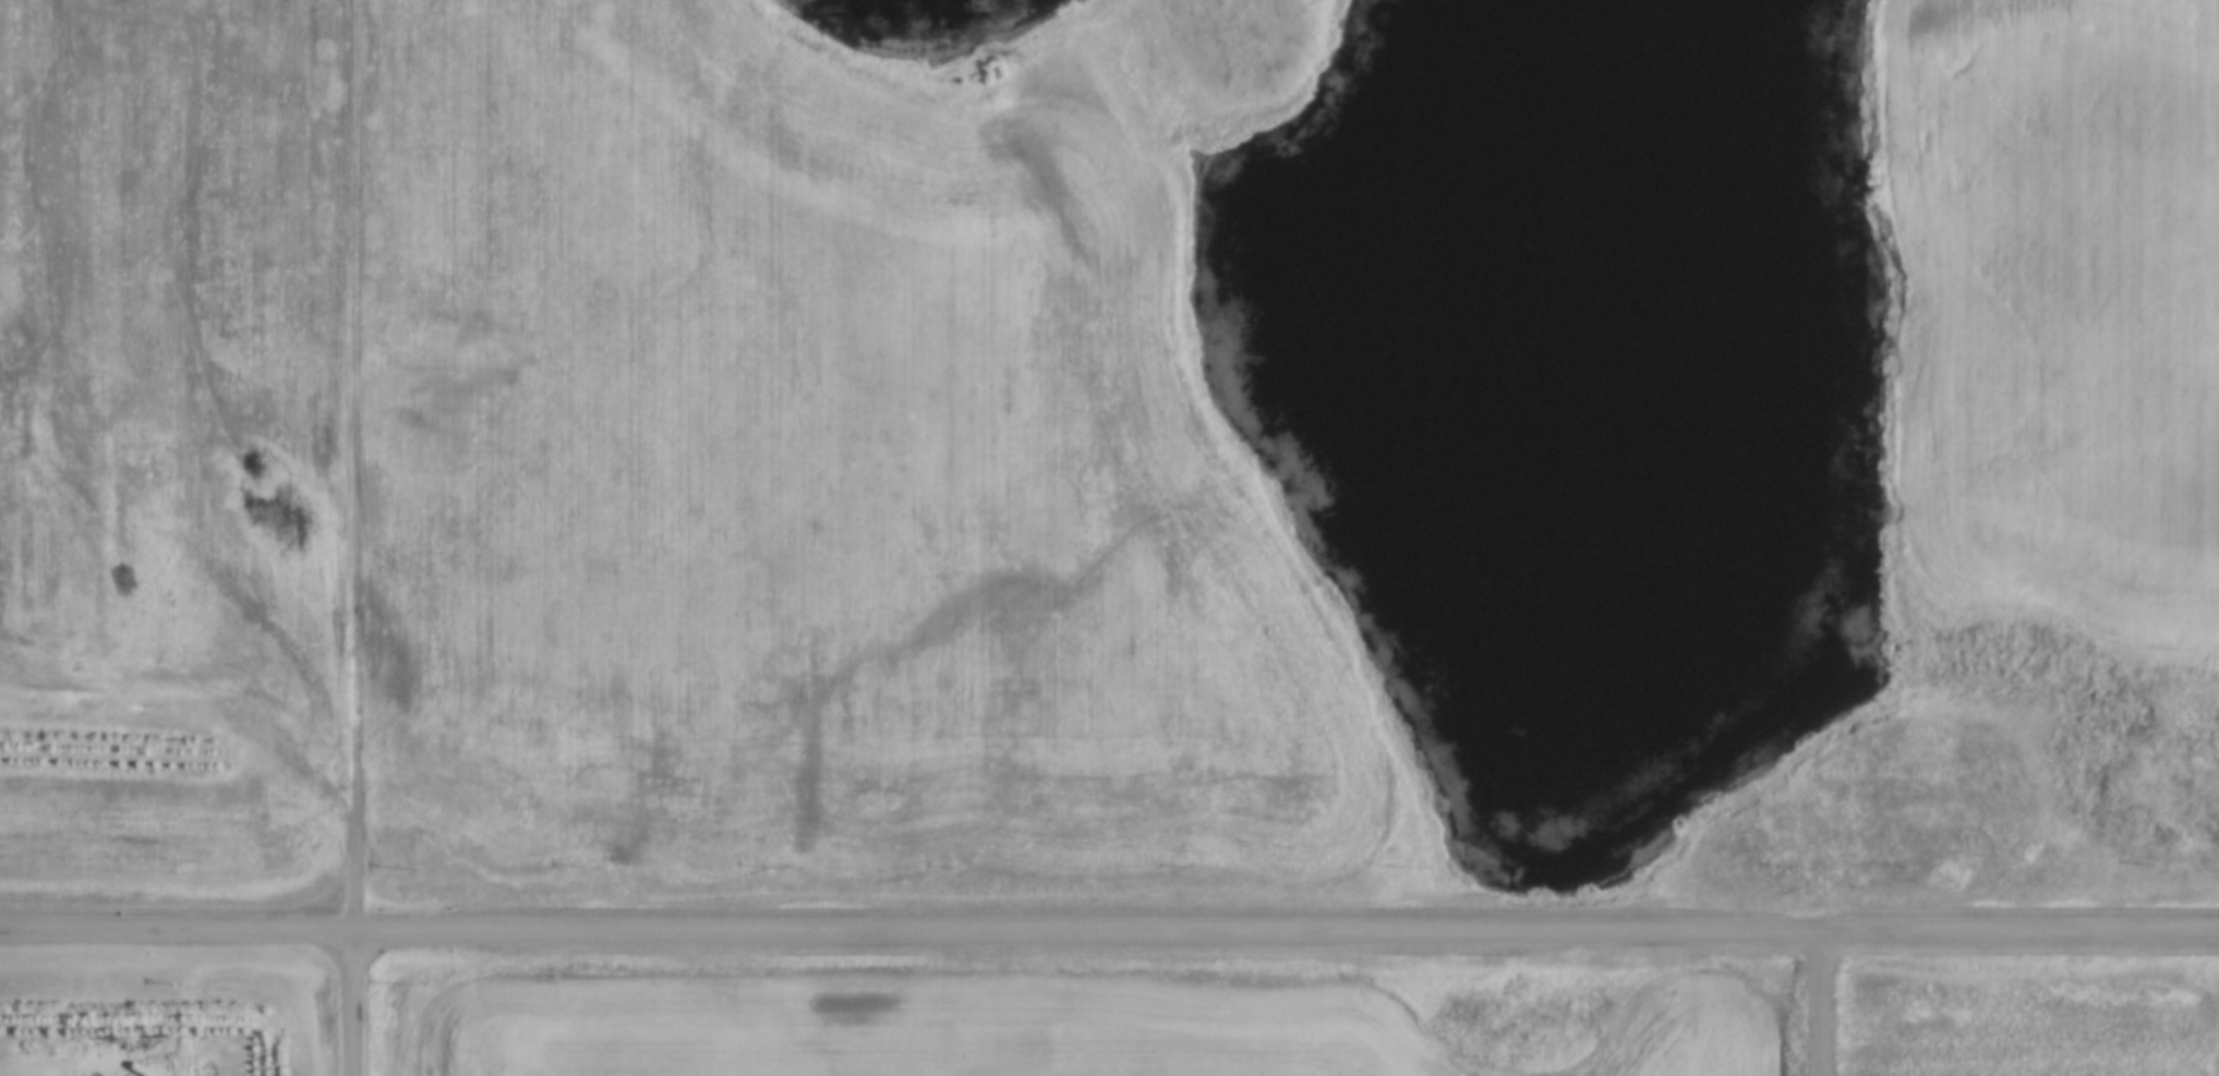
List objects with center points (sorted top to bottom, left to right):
road: (355, 466)
road: (1109, 928)
road: (355, 1003)

